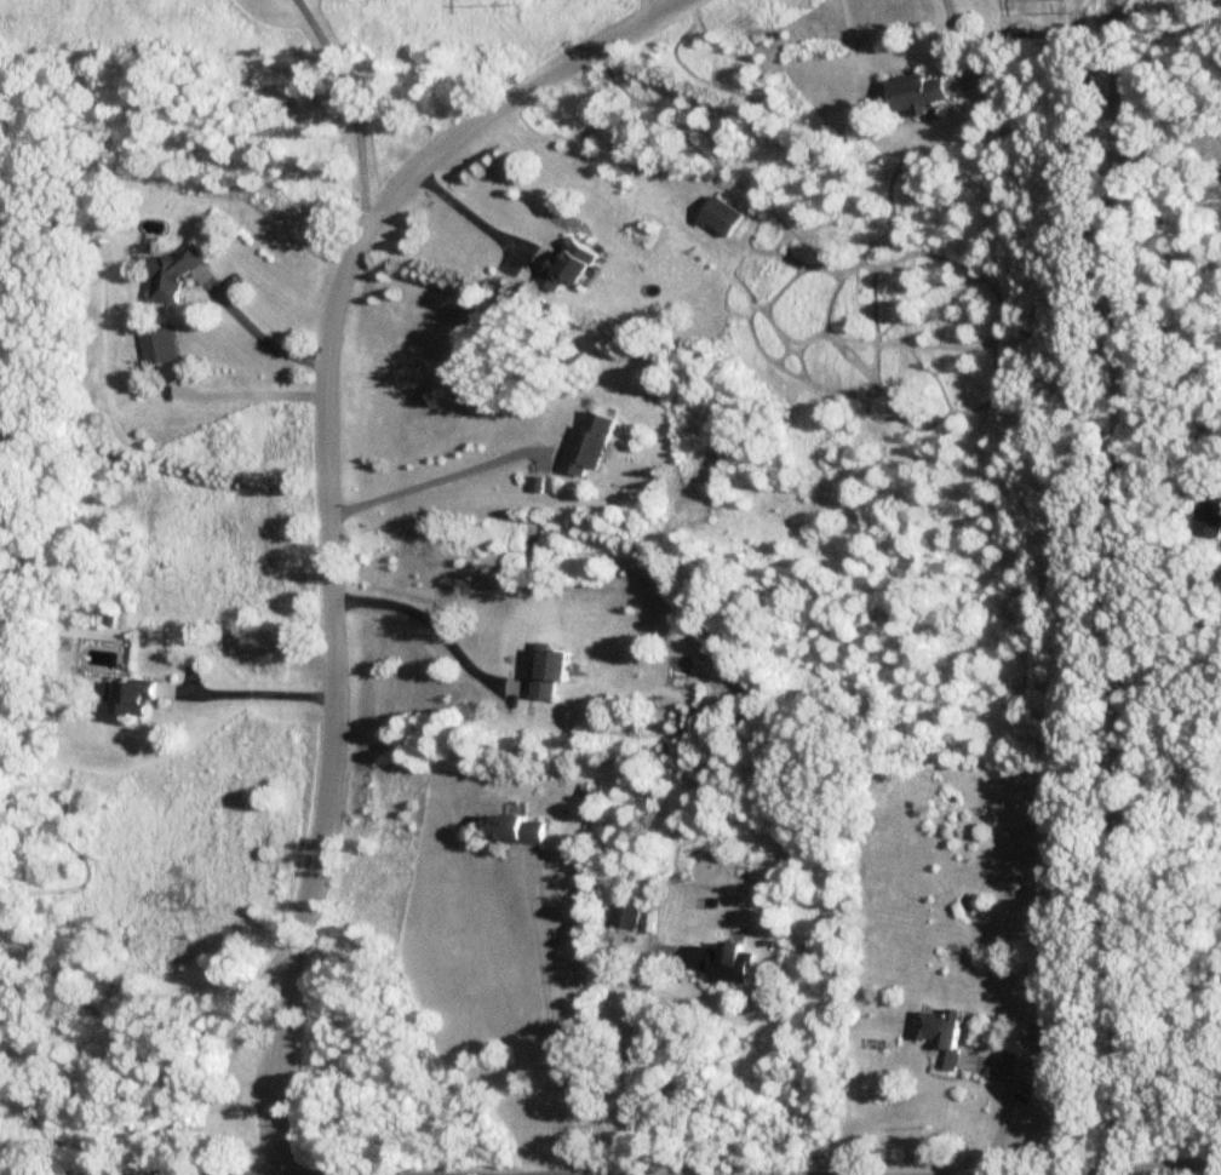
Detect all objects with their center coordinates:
road: (638, 10)
road: (952, 34)
building: (913, 92)
road: (349, 108)
road: (1165, 144)
road: (466, 213)
building: (715, 217)
building: (564, 265)
building: (171, 274)
road: (263, 337)
building: (587, 443)
road: (430, 480)
road: (331, 506)
building: (1208, 520)
road: (1112, 586)
road: (430, 625)
building: (548, 674)
road: (257, 694)
building: (131, 699)
building: (517, 830)
building: (624, 913)
building: (717, 963)
road: (546, 1014)
building: (941, 1036)
road: (626, 1053)
road: (1004, 1113)
road: (1163, 1169)
road: (1147, 1173)

